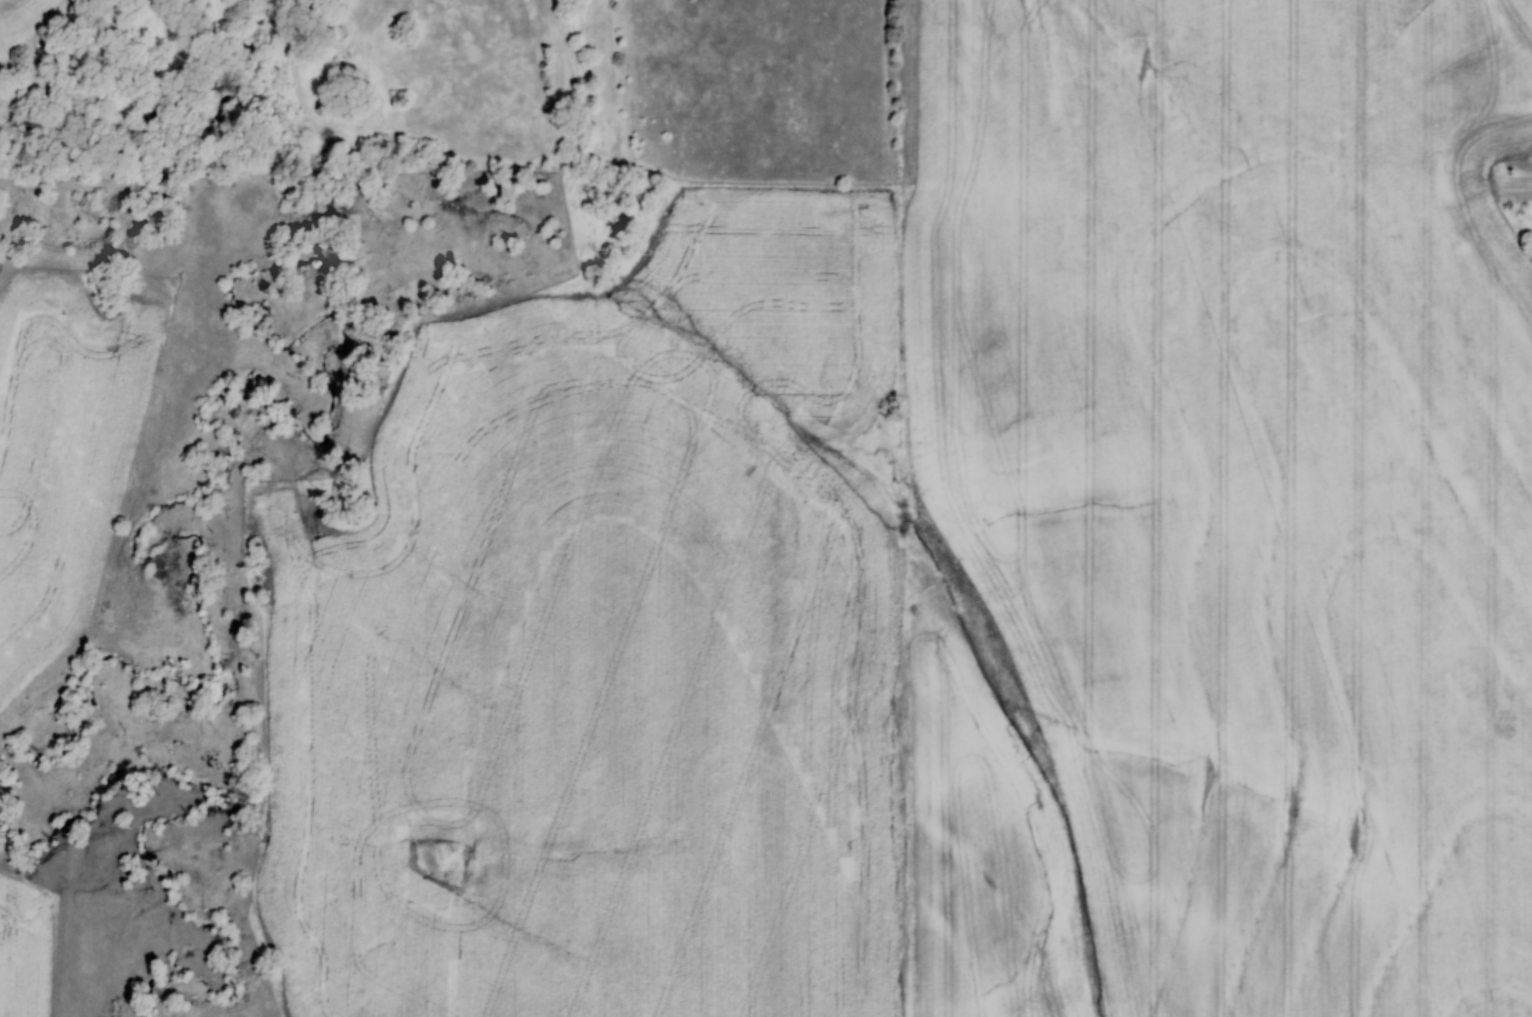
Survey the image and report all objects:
dam: (1514, 186)

